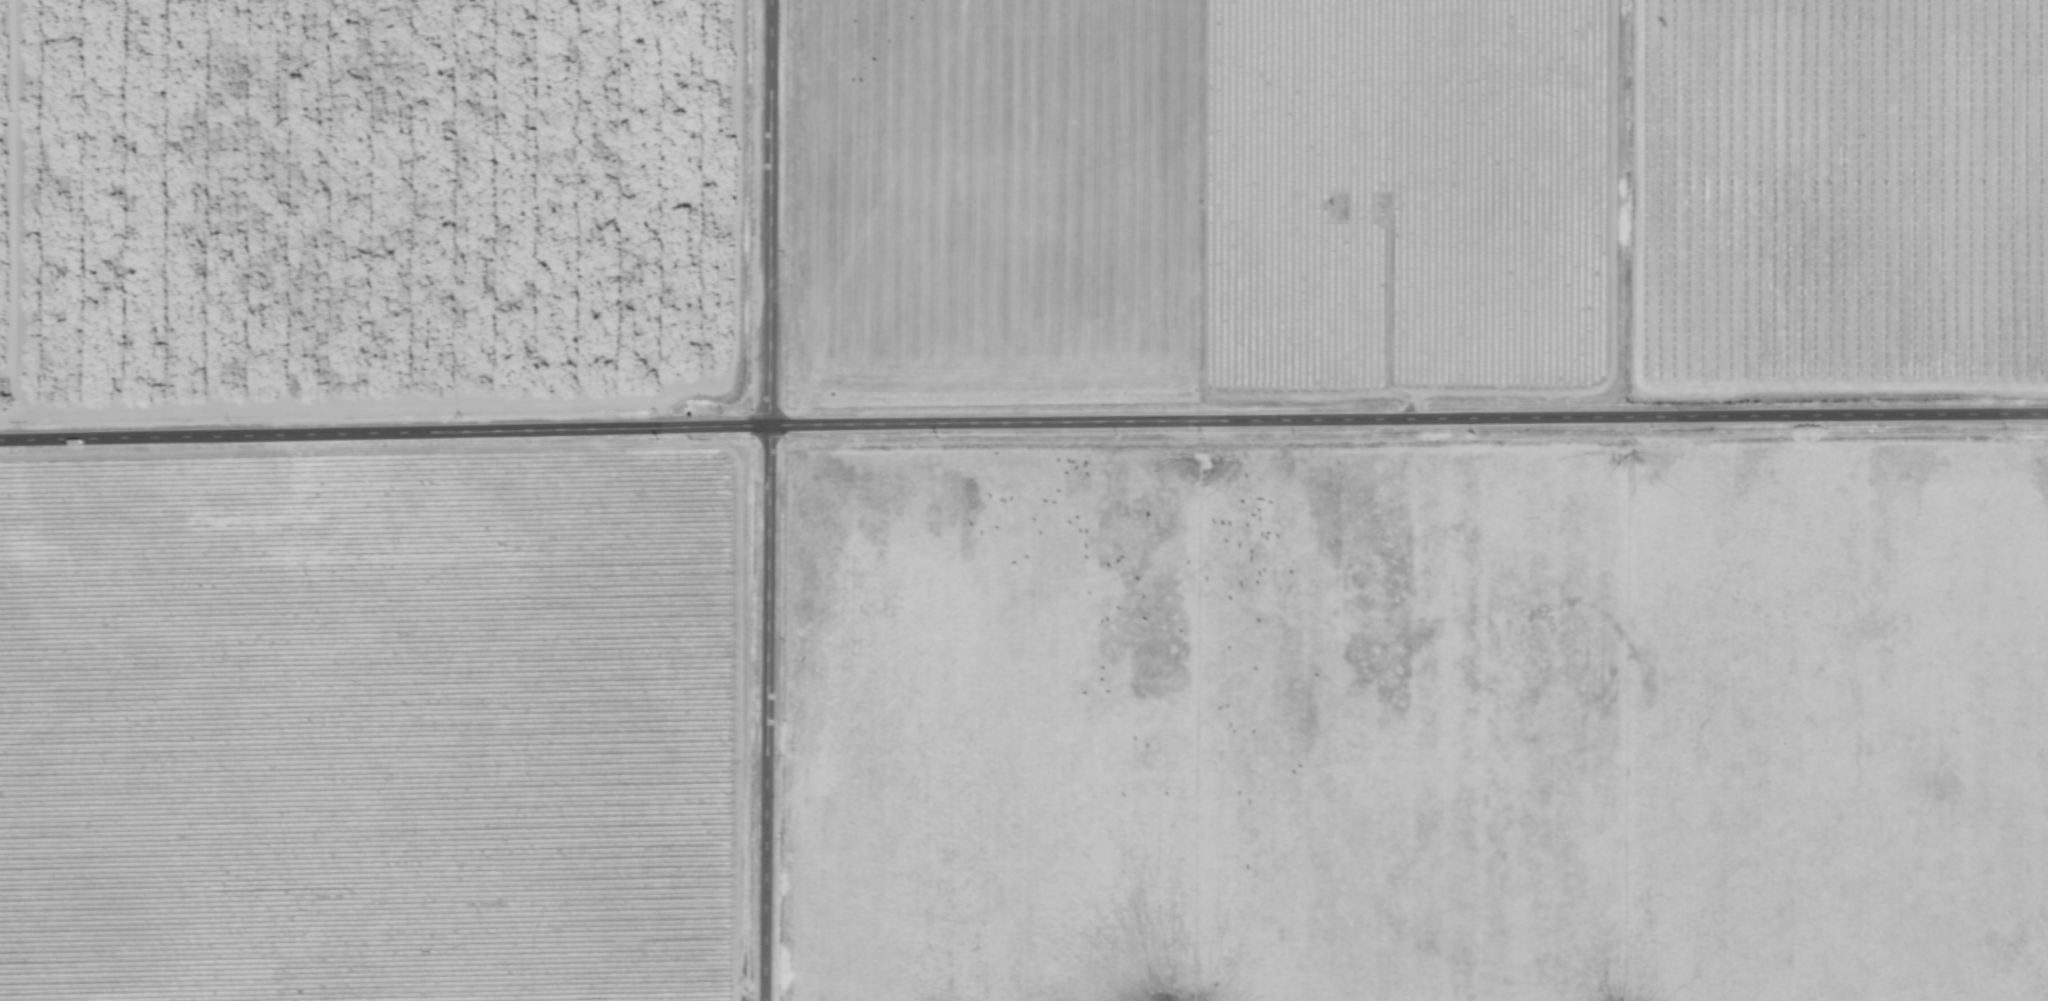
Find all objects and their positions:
road: (773, 212)
road: (1023, 422)
road: (769, 713)

